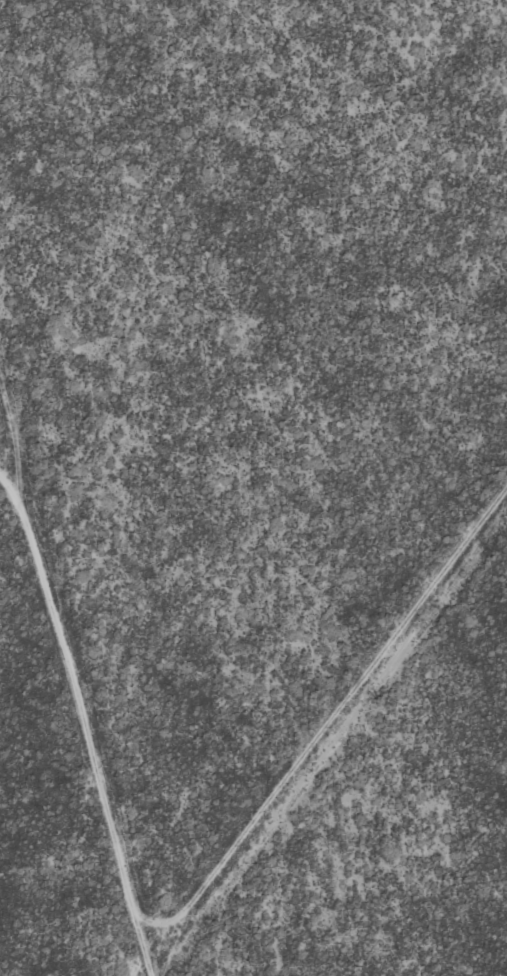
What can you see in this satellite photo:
road: (43, 432)
road: (122, 755)

